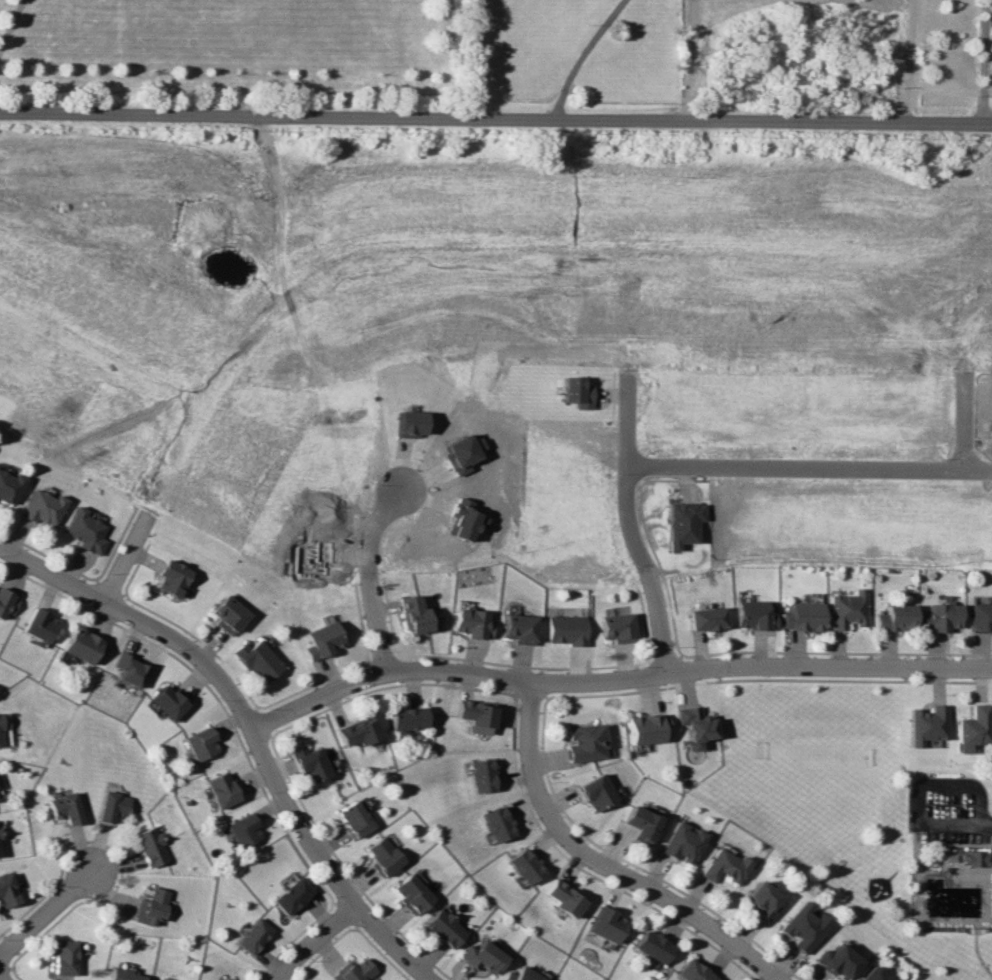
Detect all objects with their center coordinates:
road: (9, 21)
road: (576, 54)
road: (681, 59)
road: (907, 60)
road: (981, 61)
road: (495, 116)
building: (575, 391)
building: (408, 422)
road: (961, 425)
road: (805, 468)
road: (620, 476)
building: (7, 487)
building: (38, 508)
building: (82, 530)
road: (126, 557)
road: (363, 574)
building: (167, 579)
building: (5, 602)
building: (848, 609)
building: (753, 613)
building: (223, 614)
building: (412, 614)
building: (802, 616)
road: (660, 617)
building: (705, 617)
building: (940, 617)
building: (980, 617)
building: (895, 618)
road: (139, 621)
building: (471, 623)
building: (614, 625)
building: (35, 626)
building: (519, 628)
building: (566, 629)
building: (322, 640)
building: (78, 646)
building: (256, 660)
building: (124, 671)
road: (615, 680)
building: (164, 703)
building: (475, 715)
building: (407, 718)
building: (924, 724)
building: (692, 725)
building: (644, 728)
building: (972, 728)
building: (358, 732)
building: (584, 742)
building: (197, 743)
building: (0, 744)
building: (310, 764)
building: (480, 775)
building: (219, 788)
road: (917, 788)
building: (594, 792)
building: (109, 806)
park: (861, 807)
building: (62, 808)
building: (353, 818)
building: (497, 823)
building: (639, 823)
road: (986, 824)
road: (293, 825)
building: (242, 830)
building: (681, 842)
building: (147, 846)
building: (383, 855)
building: (972, 858)
road: (600, 863)
building: (524, 866)
building: (723, 866)
building: (412, 891)
building: (5, 892)
building: (290, 895)
building: (564, 898)
building: (759, 900)
building: (150, 907)
road: (48, 914)
building: (606, 924)
building: (799, 927)
building: (443, 928)
building: (251, 935)
road: (314, 943)
road: (392, 945)
building: (652, 946)
building: (482, 957)
building: (61, 958)
building: (834, 961)
building: (355, 970)
building: (692, 972)
building: (871, 974)
road: (4, 975)
building: (120, 975)
building: (521, 975)
building: (223, 979)
building: (226, 979)

